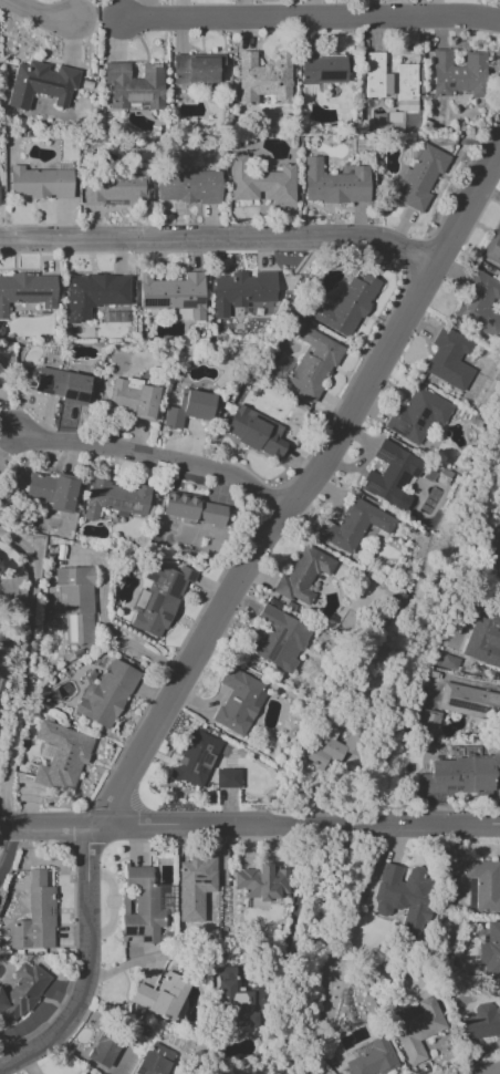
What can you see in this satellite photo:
road: (39, 12)
road: (94, 16)
road: (309, 18)
building: (197, 69)
building: (324, 69)
building: (458, 74)
building: (262, 78)
building: (390, 82)
building: (40, 84)
building: (134, 86)
building: (418, 177)
building: (260, 182)
building: (39, 183)
building: (334, 184)
building: (115, 186)
building: (187, 186)
road: (219, 239)
building: (493, 248)
building: (27, 291)
building: (241, 291)
building: (174, 293)
building: (93, 295)
building: (479, 303)
building: (346, 306)
building: (448, 359)
building: (313, 364)
building: (61, 384)
building: (133, 399)
building: (189, 409)
building: (417, 415)
building: (254, 432)
road: (156, 456)
building: (389, 473)
building: (52, 490)
building: (114, 498)
building: (191, 508)
building: (353, 526)
building: (494, 556)
building: (303, 576)
building: (498, 595)
building: (157, 599)
building: (75, 603)
road: (220, 606)
building: (278, 639)
building: (482, 640)
road: (22, 674)
building: (105, 694)
building: (238, 701)
building: (469, 701)
building: (428, 724)
building: (325, 751)
building: (60, 756)
building: (195, 760)
building: (462, 775)
building: (227, 778)
road: (298, 825)
road: (46, 828)
road: (8, 849)
building: (261, 882)
building: (482, 885)
building: (194, 887)
building: (405, 896)
building: (139, 906)
building: (34, 916)
building: (490, 950)
road: (150, 958)
building: (21, 992)
building: (160, 996)
building: (237, 999)
building: (481, 1022)
building: (416, 1027)
building: (102, 1051)
building: (371, 1057)
building: (156, 1061)

